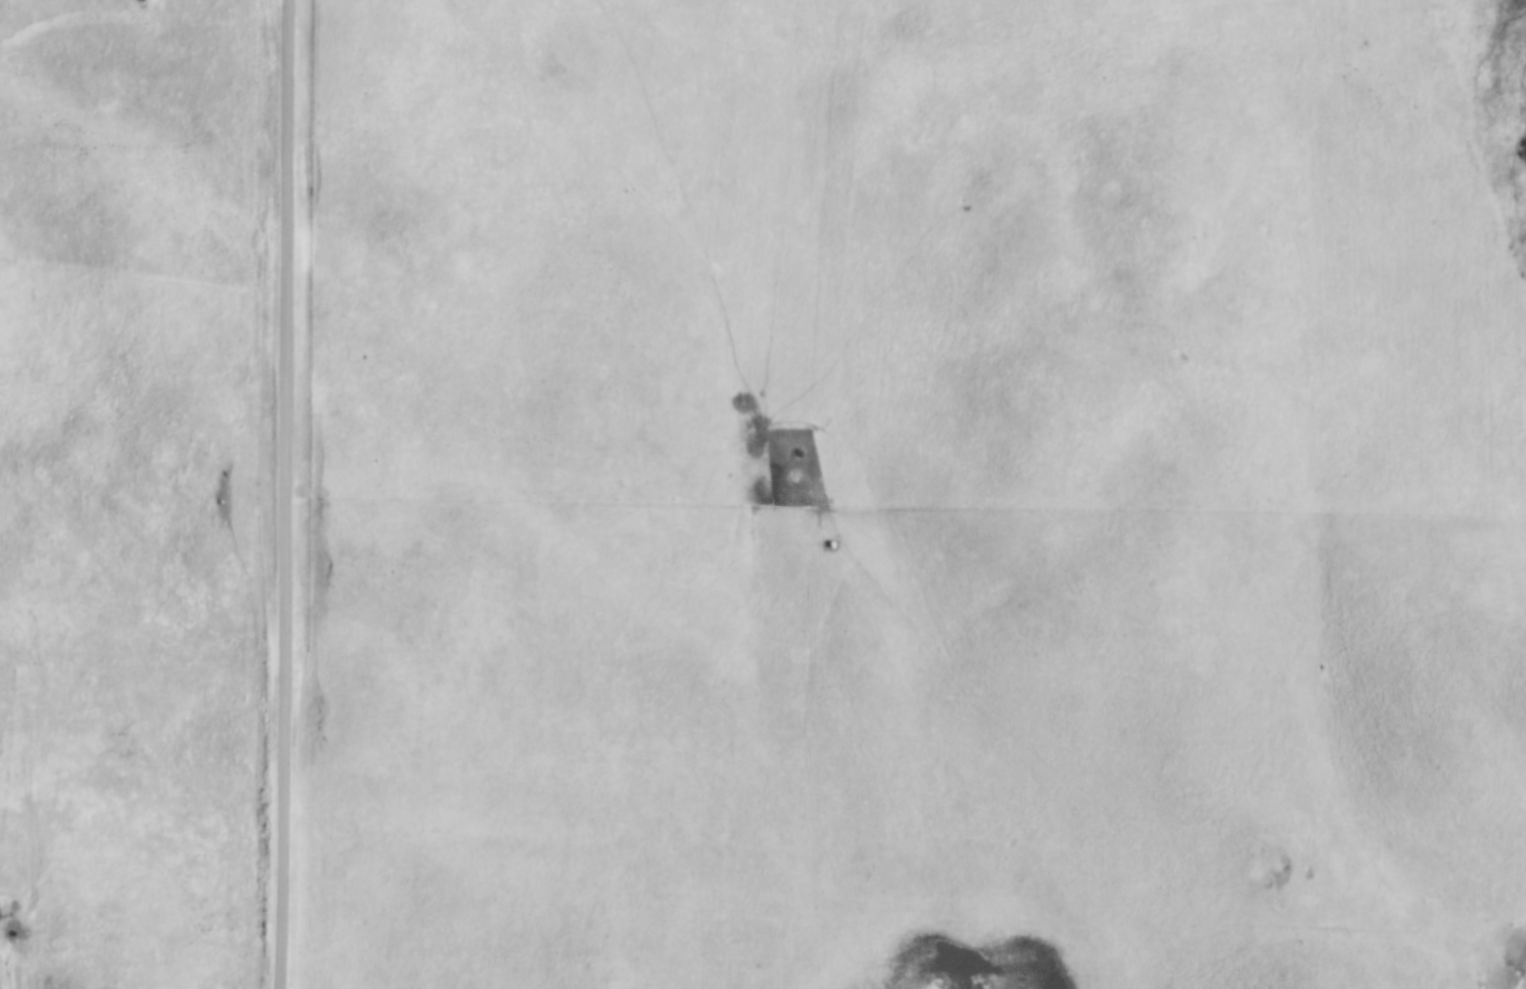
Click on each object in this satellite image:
road: (290, 494)

